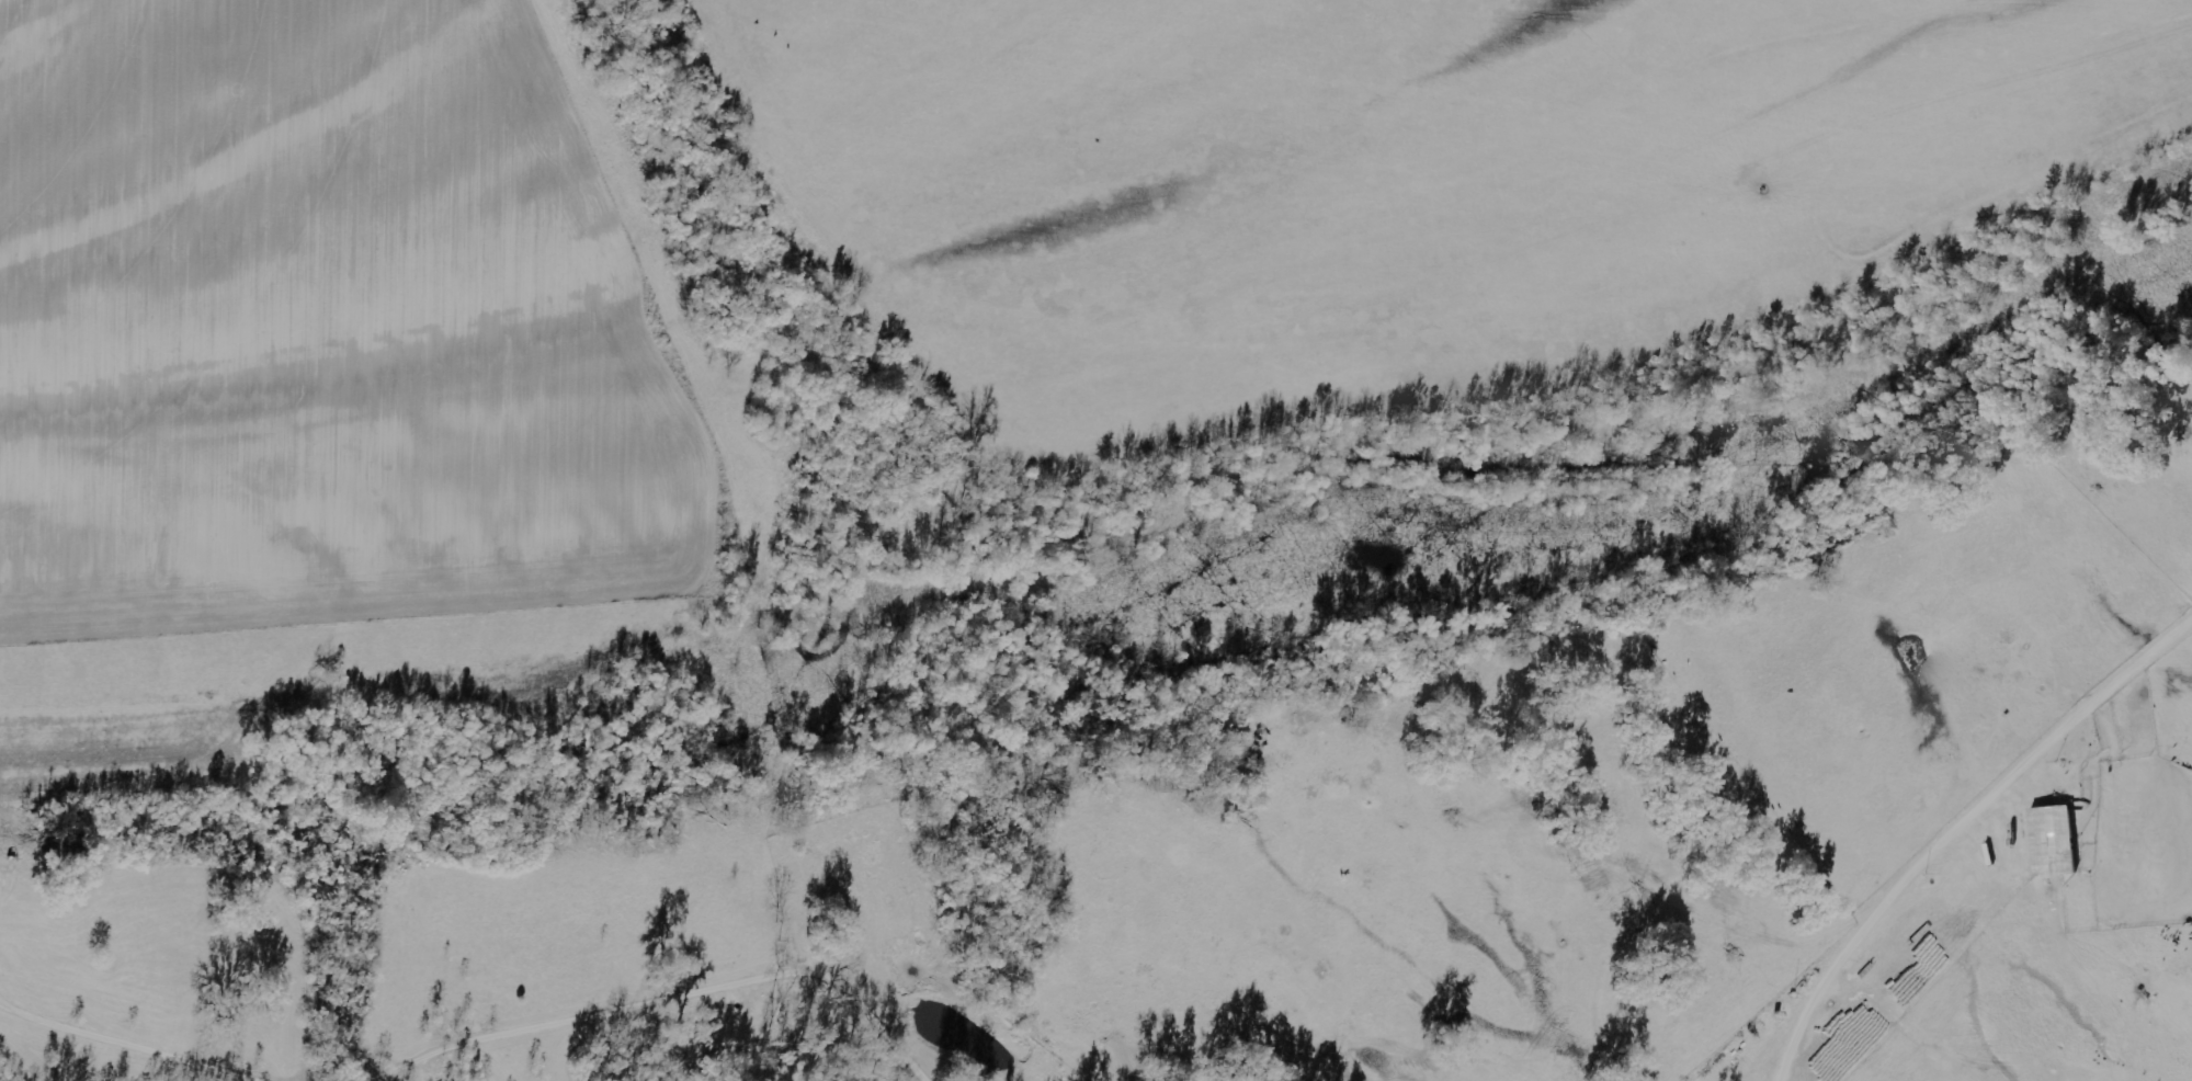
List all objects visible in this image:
building: (2054, 840)
road: (1864, 921)

